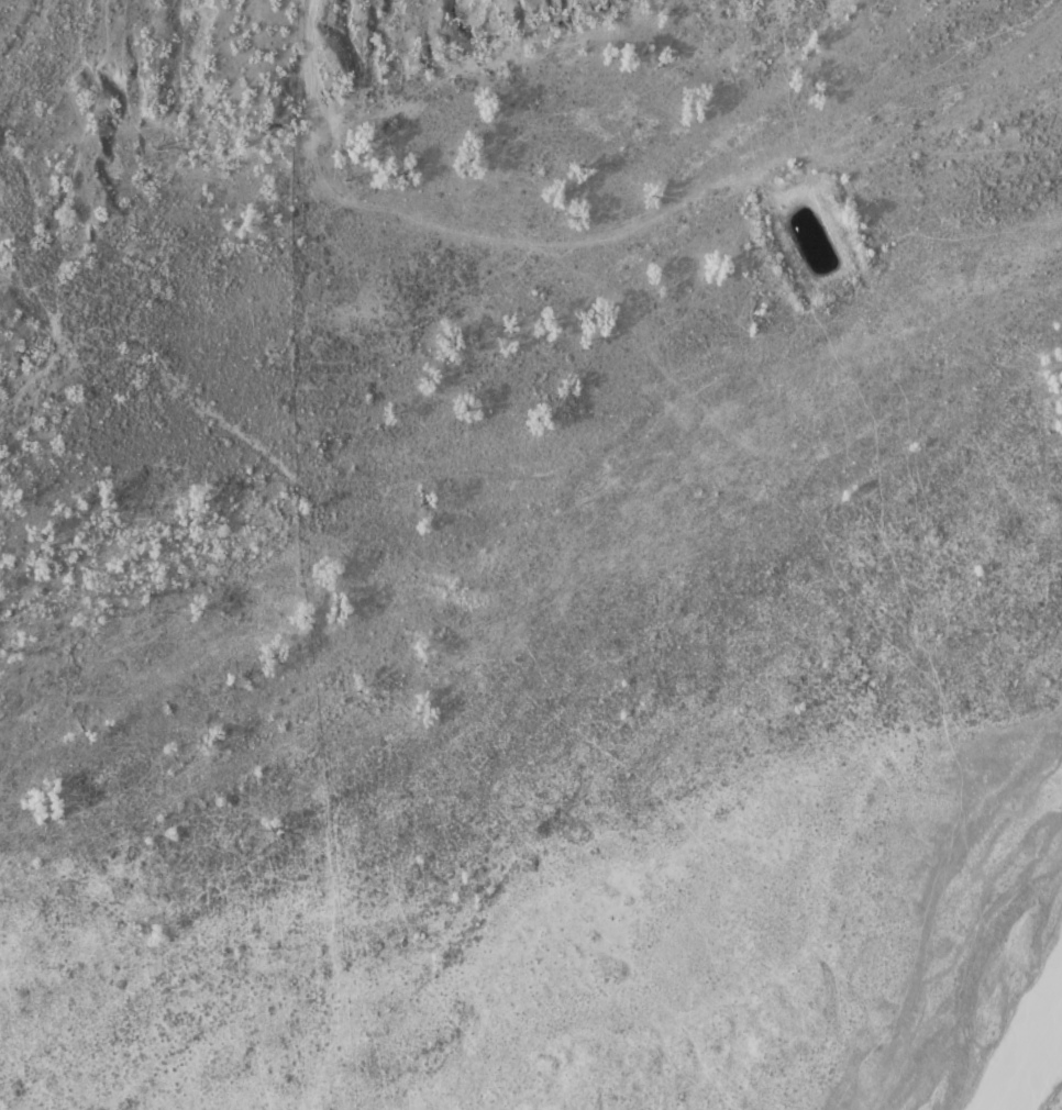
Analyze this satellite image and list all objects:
river: (1024, 1054)

